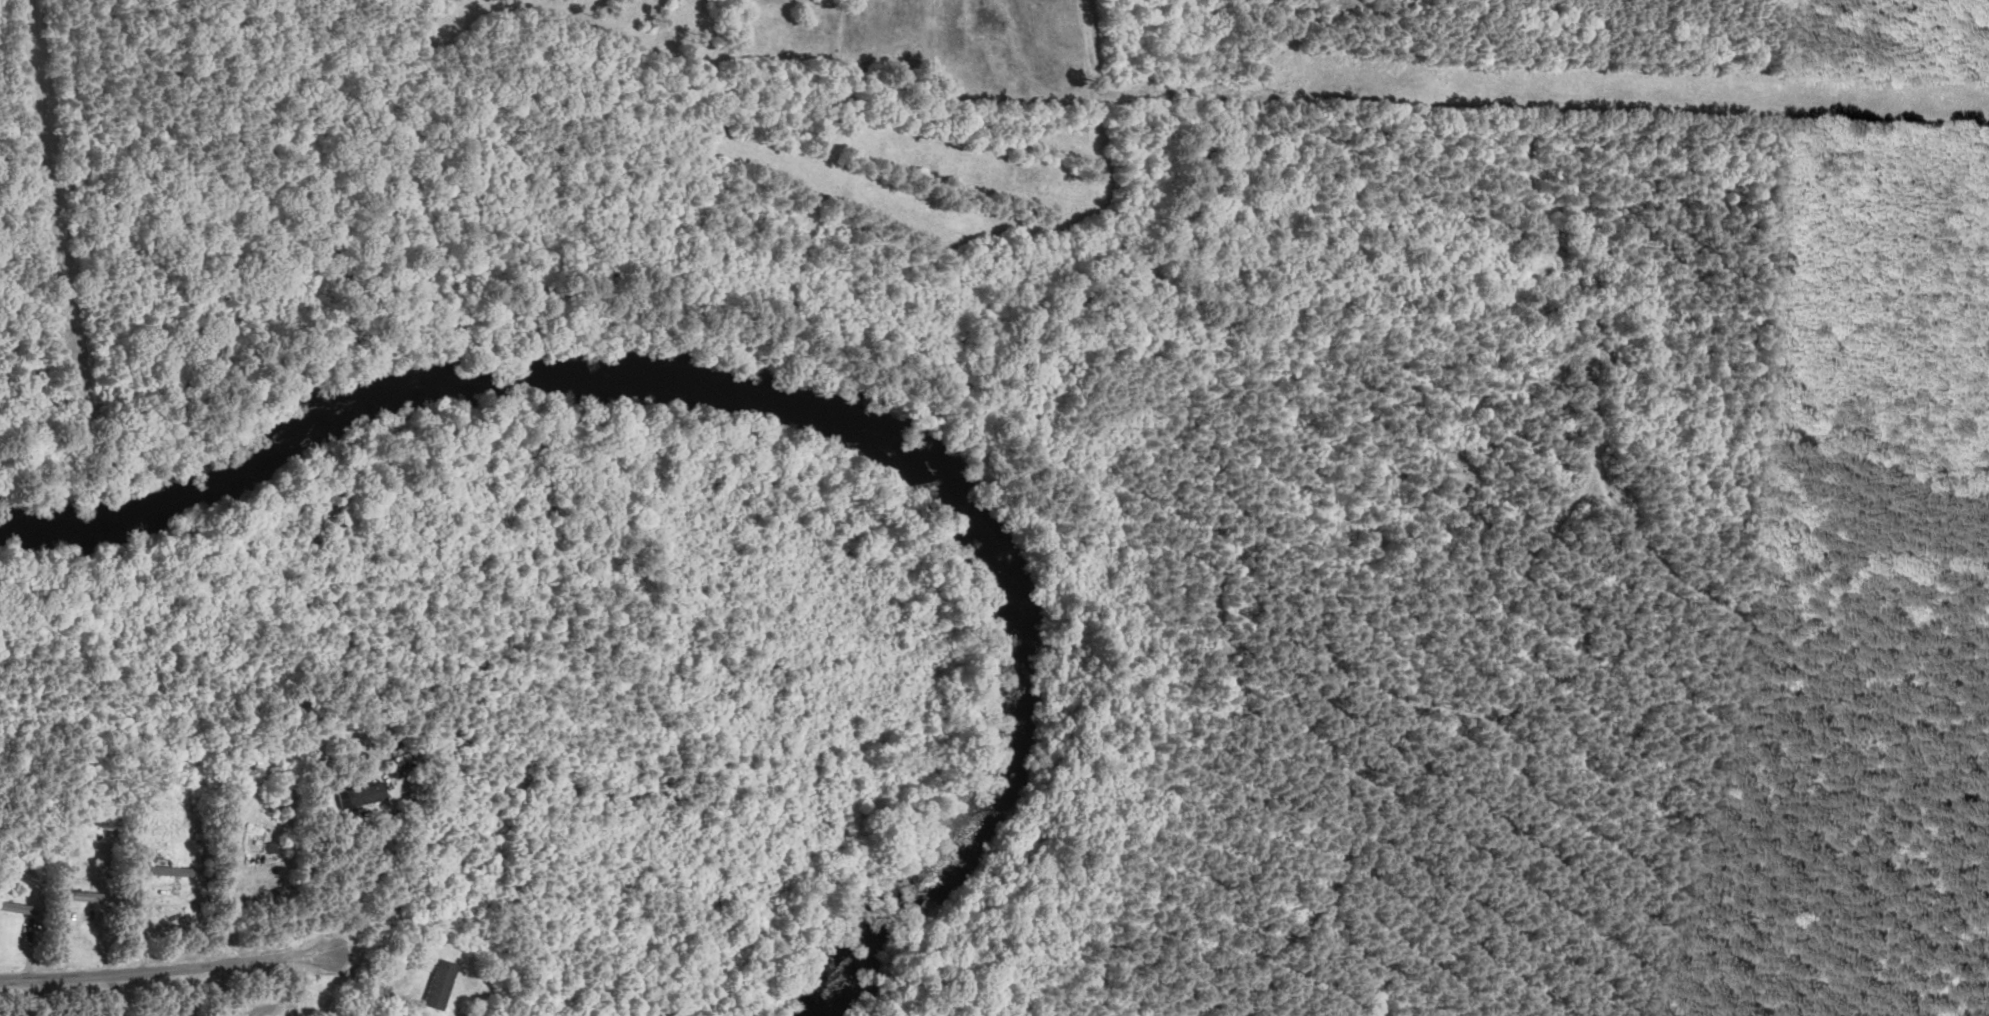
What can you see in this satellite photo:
river: (446, 377)
river: (1033, 743)
building: (362, 794)
building: (170, 870)
road: (364, 878)
road: (229, 922)
road: (168, 969)
road: (380, 981)
building: (440, 984)
road: (115, 995)

